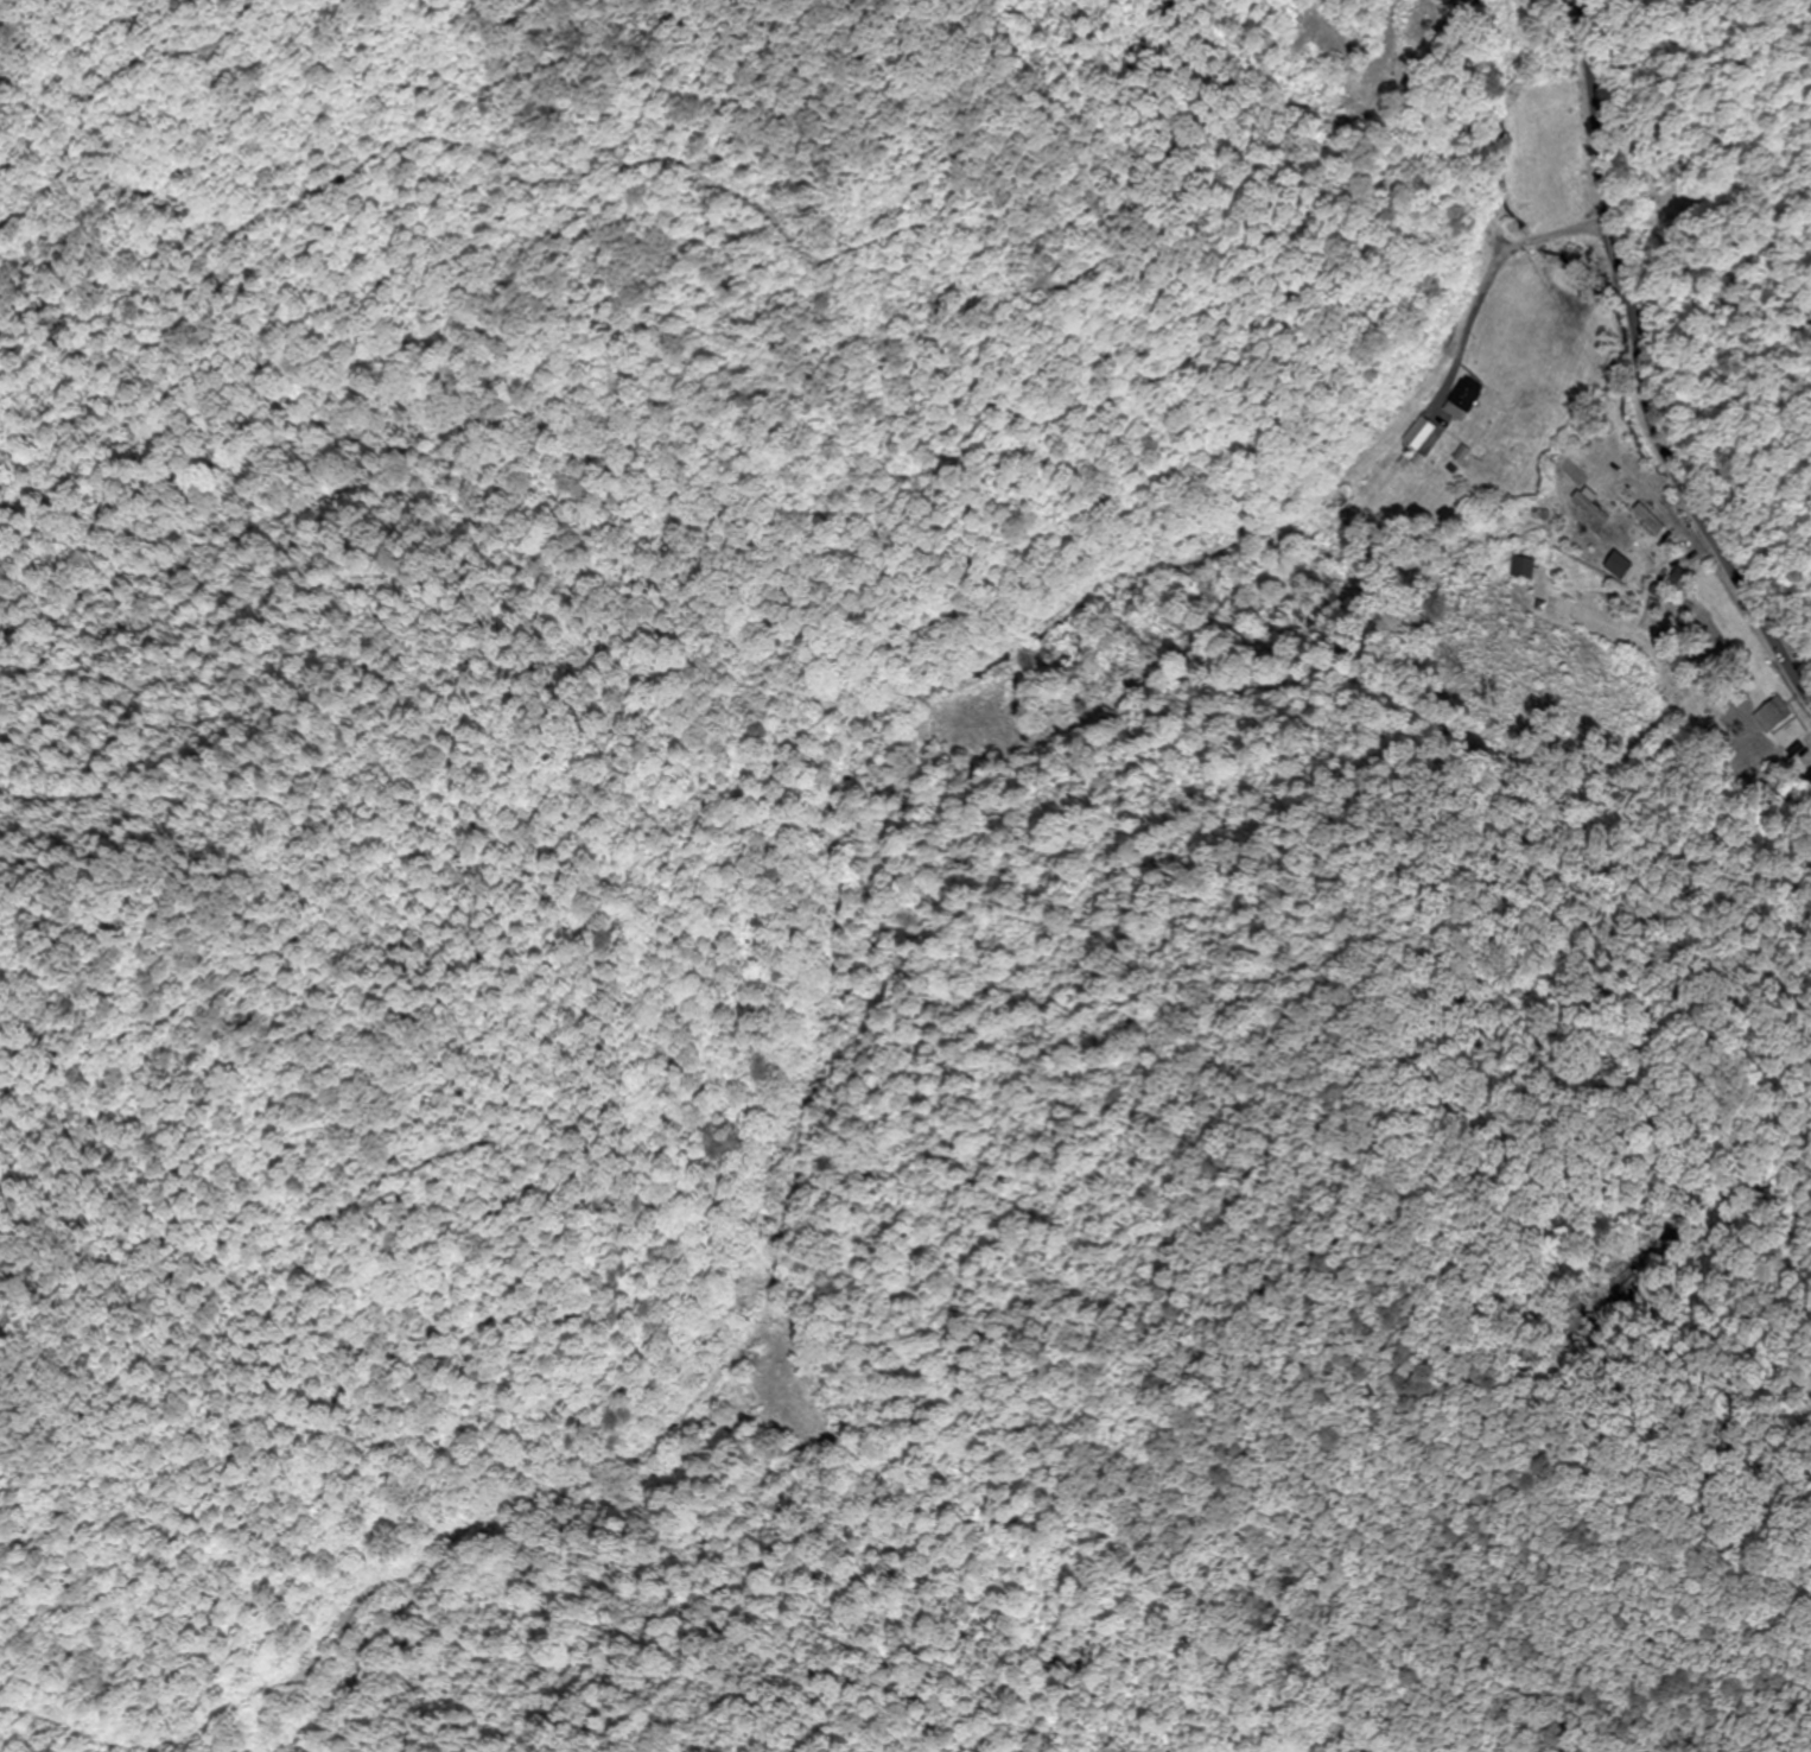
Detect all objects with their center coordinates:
road: (1644, 372)
building: (1461, 399)
building: (1419, 431)
building: (1610, 472)
building: (1615, 564)
building: (1520, 566)
building: (1679, 579)
building: (1772, 718)

